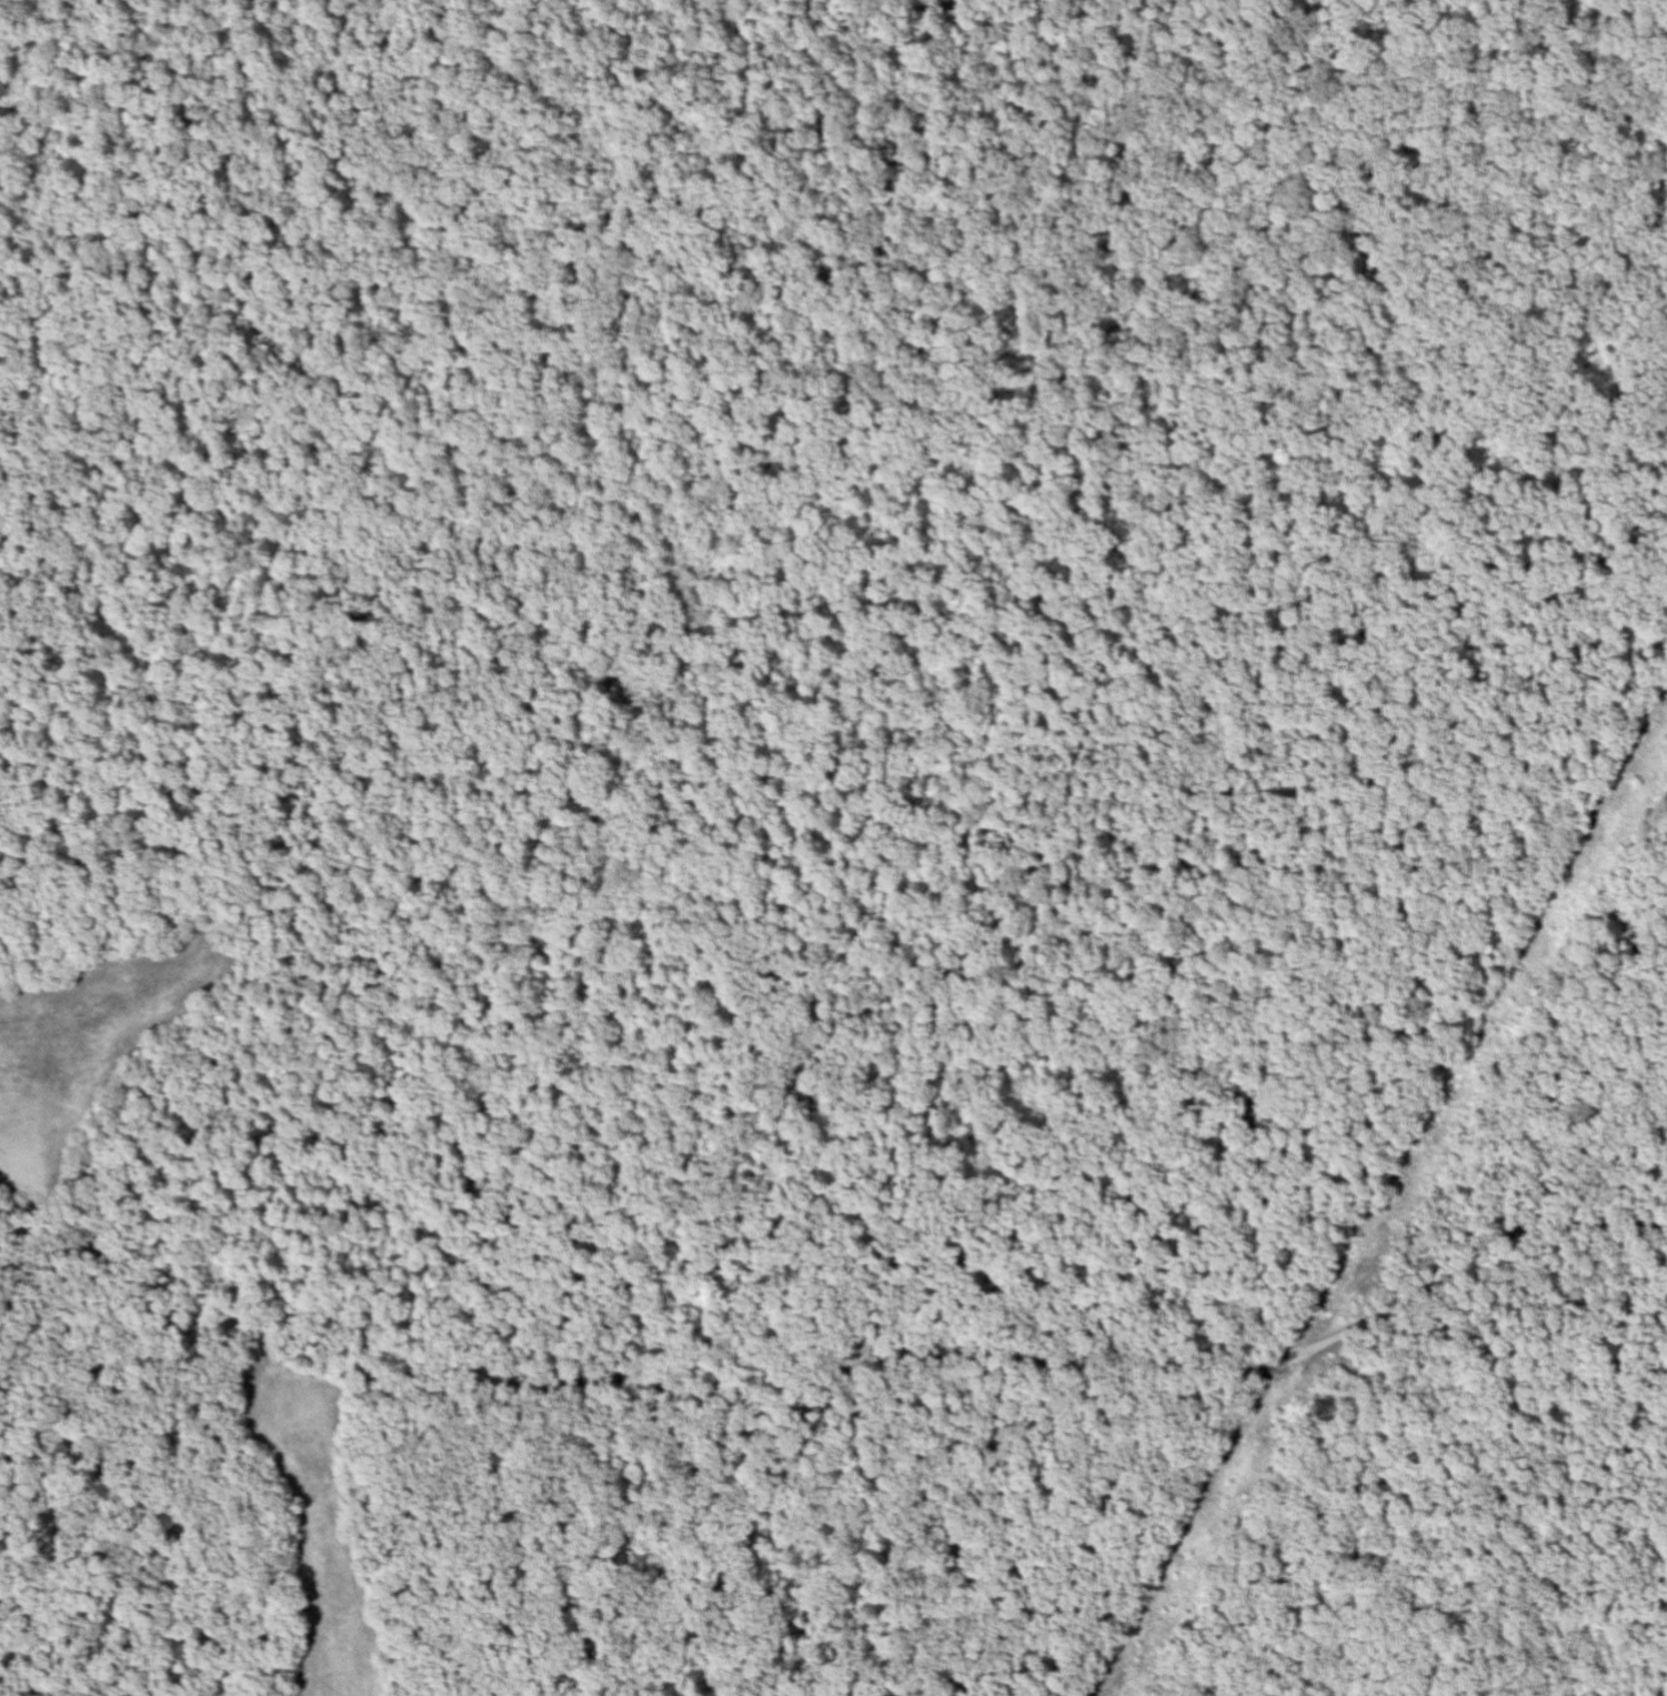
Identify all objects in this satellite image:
road: (826, 1392)

